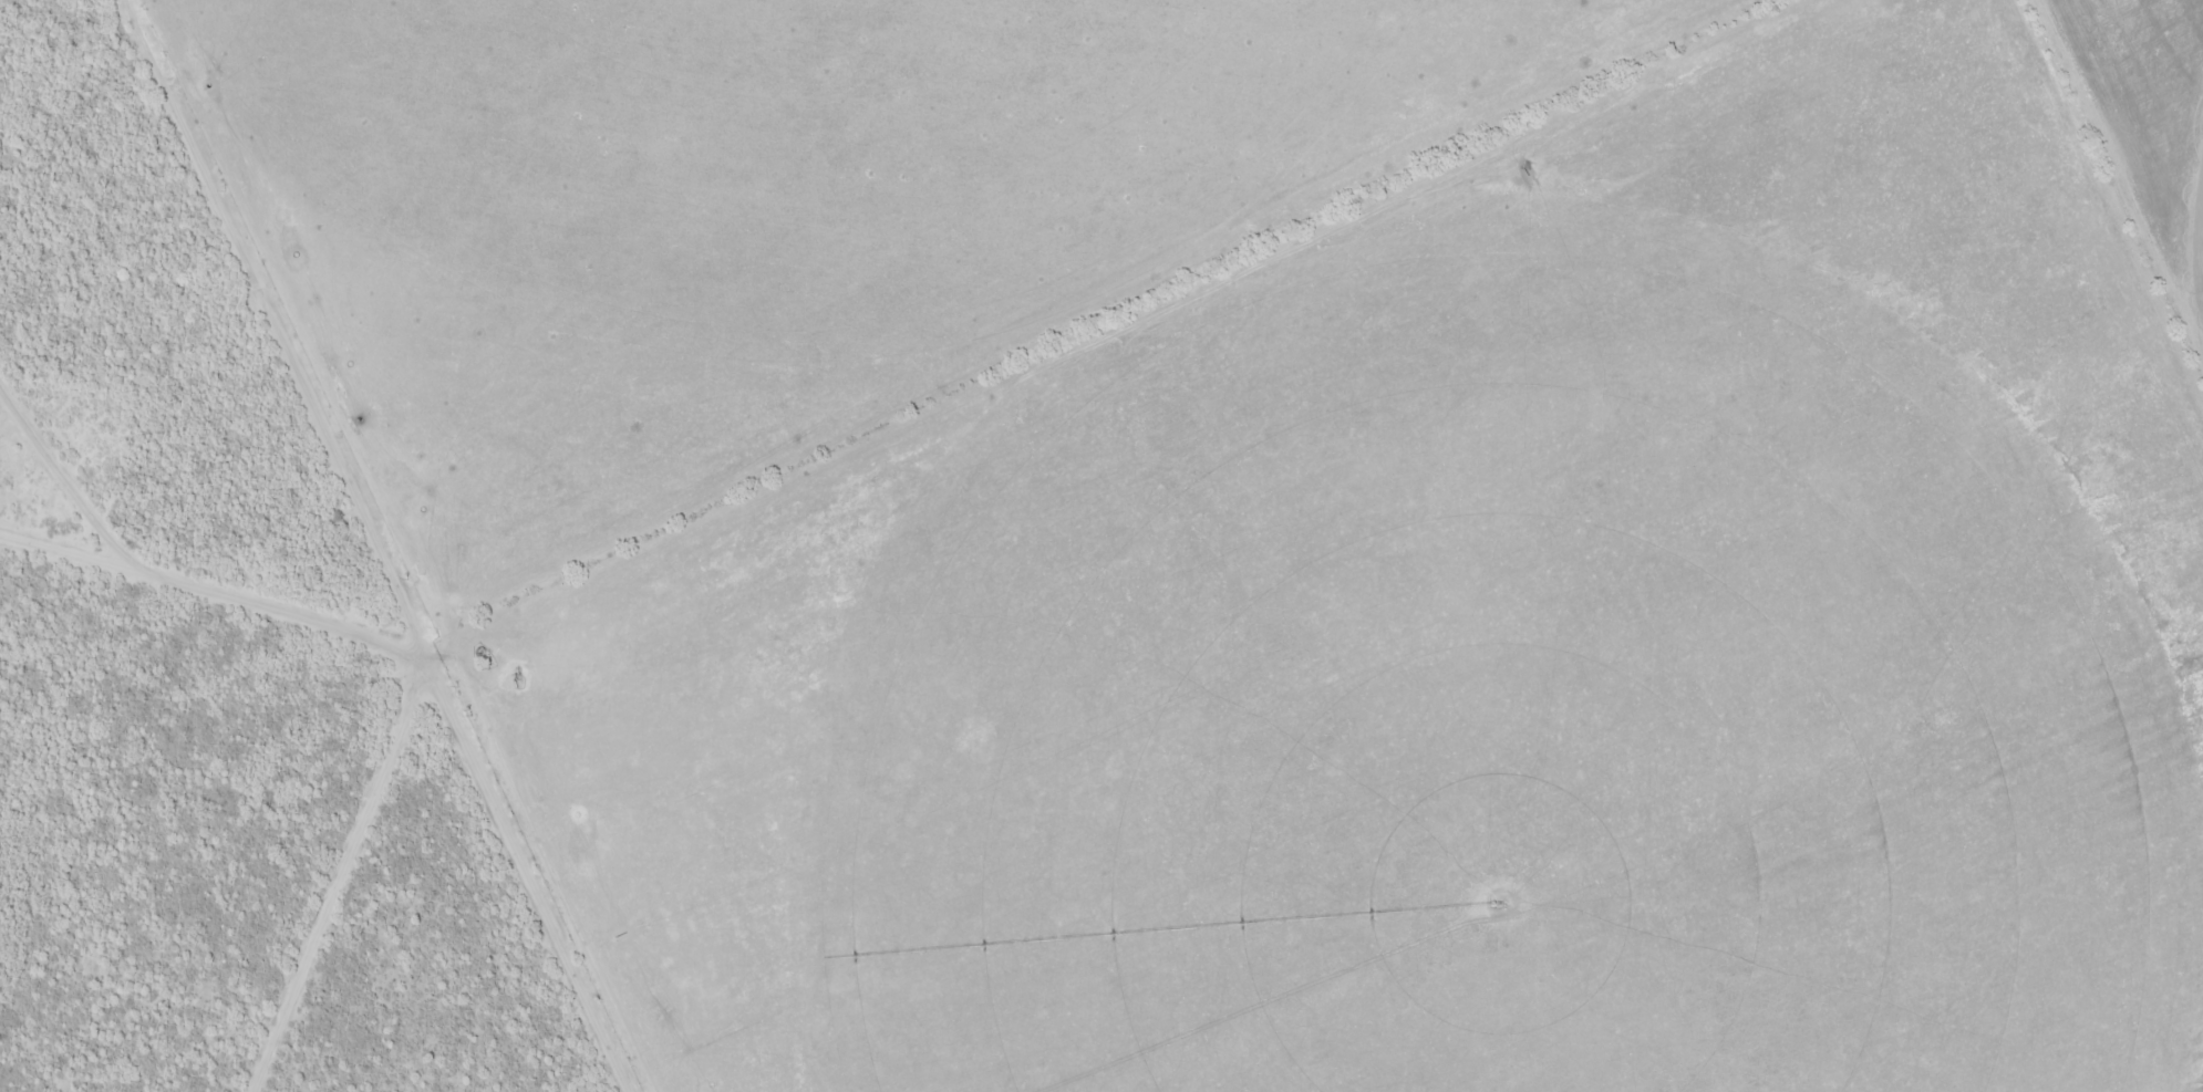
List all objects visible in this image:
road: (570, 314)
road: (914, 419)
road: (341, 863)

